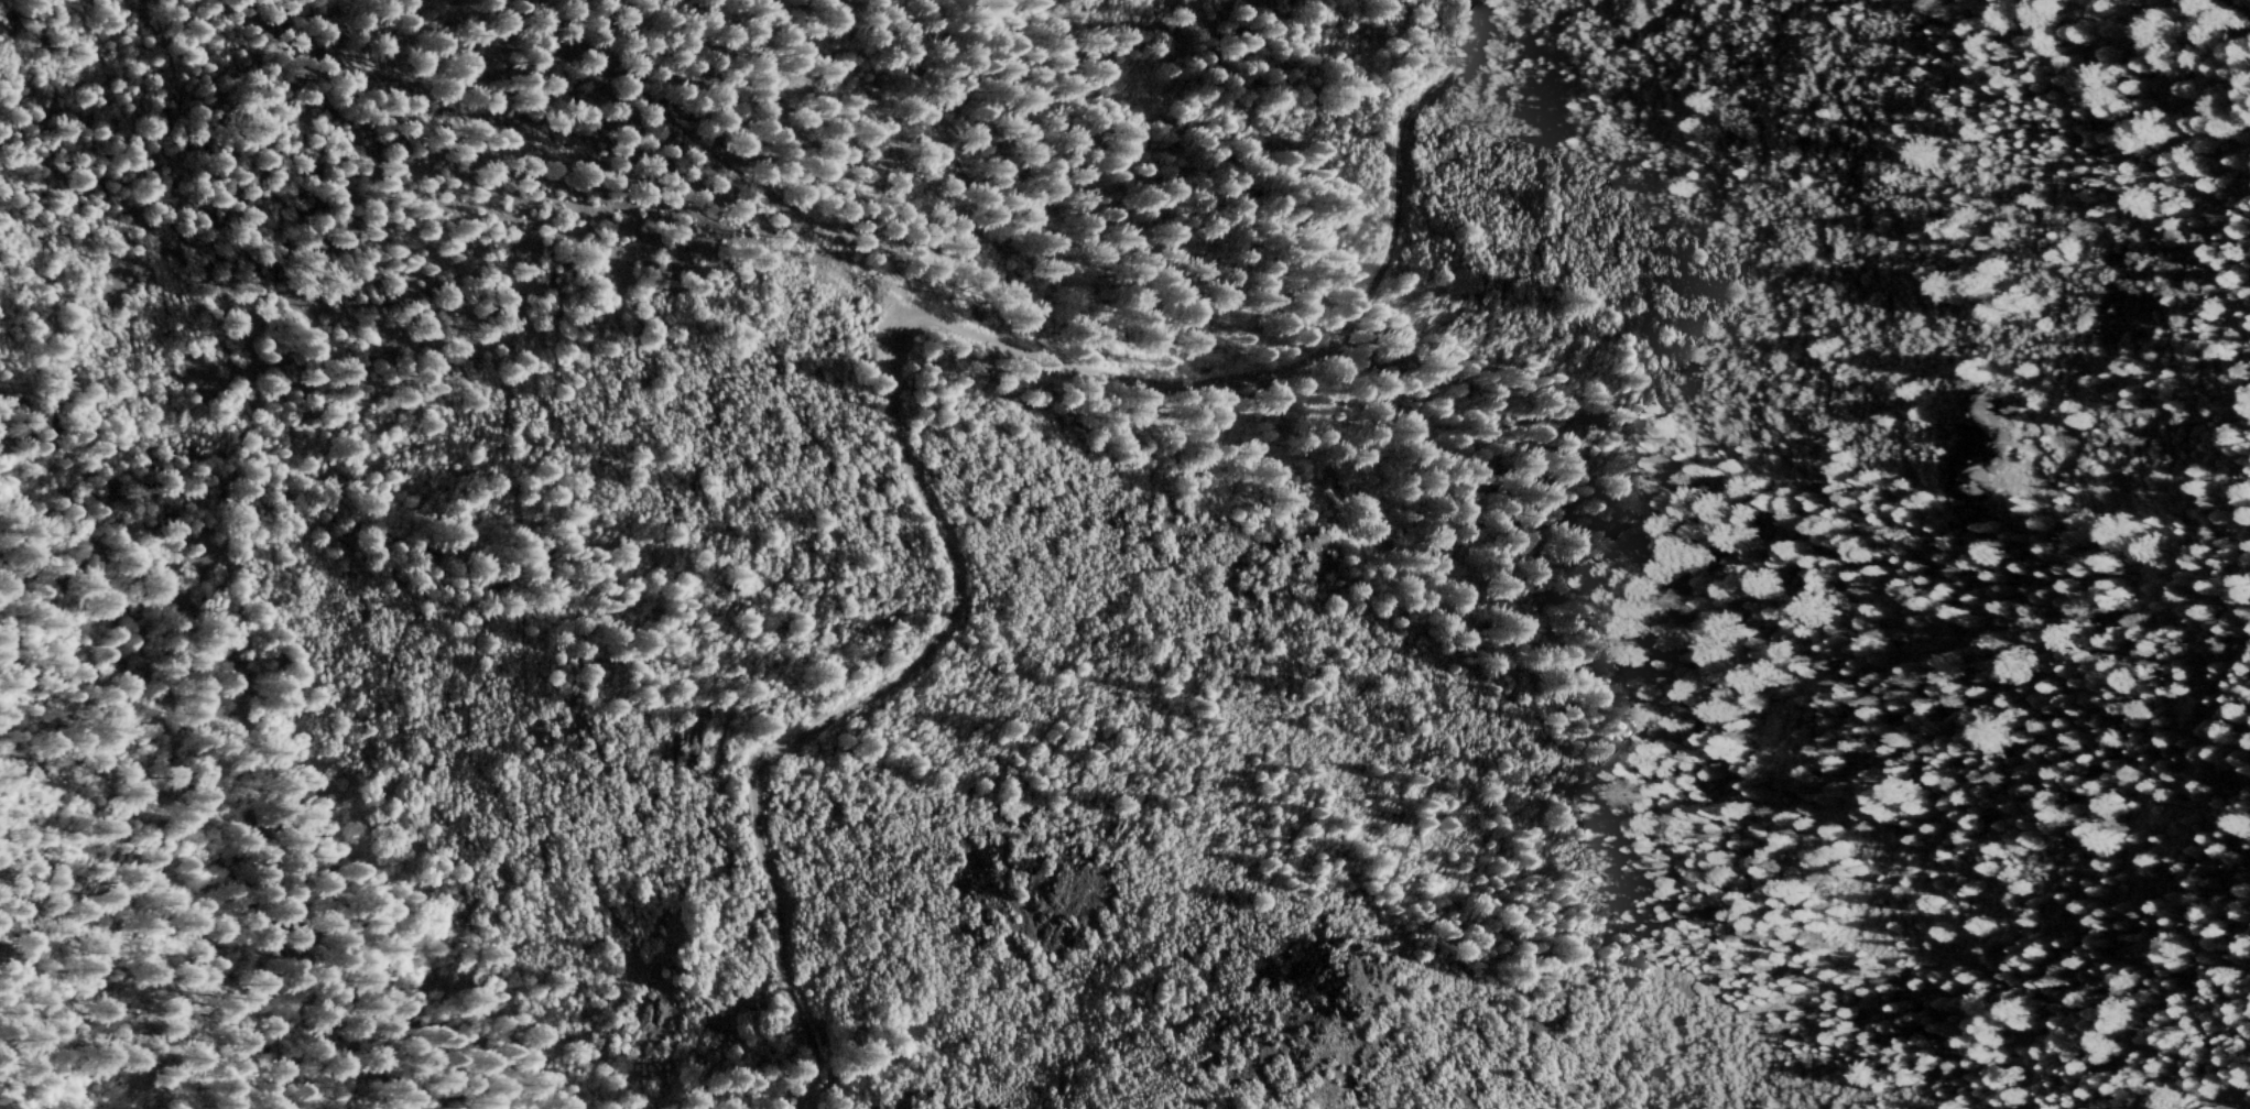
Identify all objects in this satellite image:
road: (893, 356)

